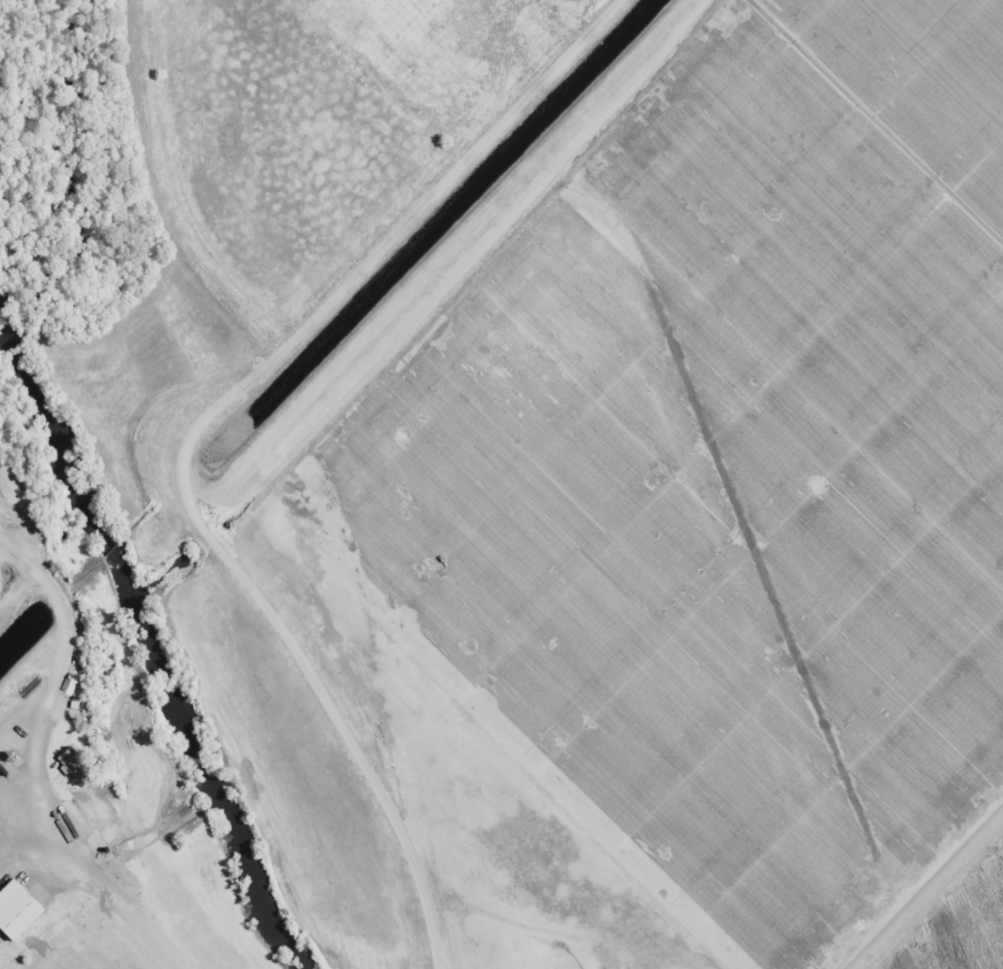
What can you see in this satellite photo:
road: (196, 432)
building: (71, 764)
building: (22, 911)
road: (951, 921)

